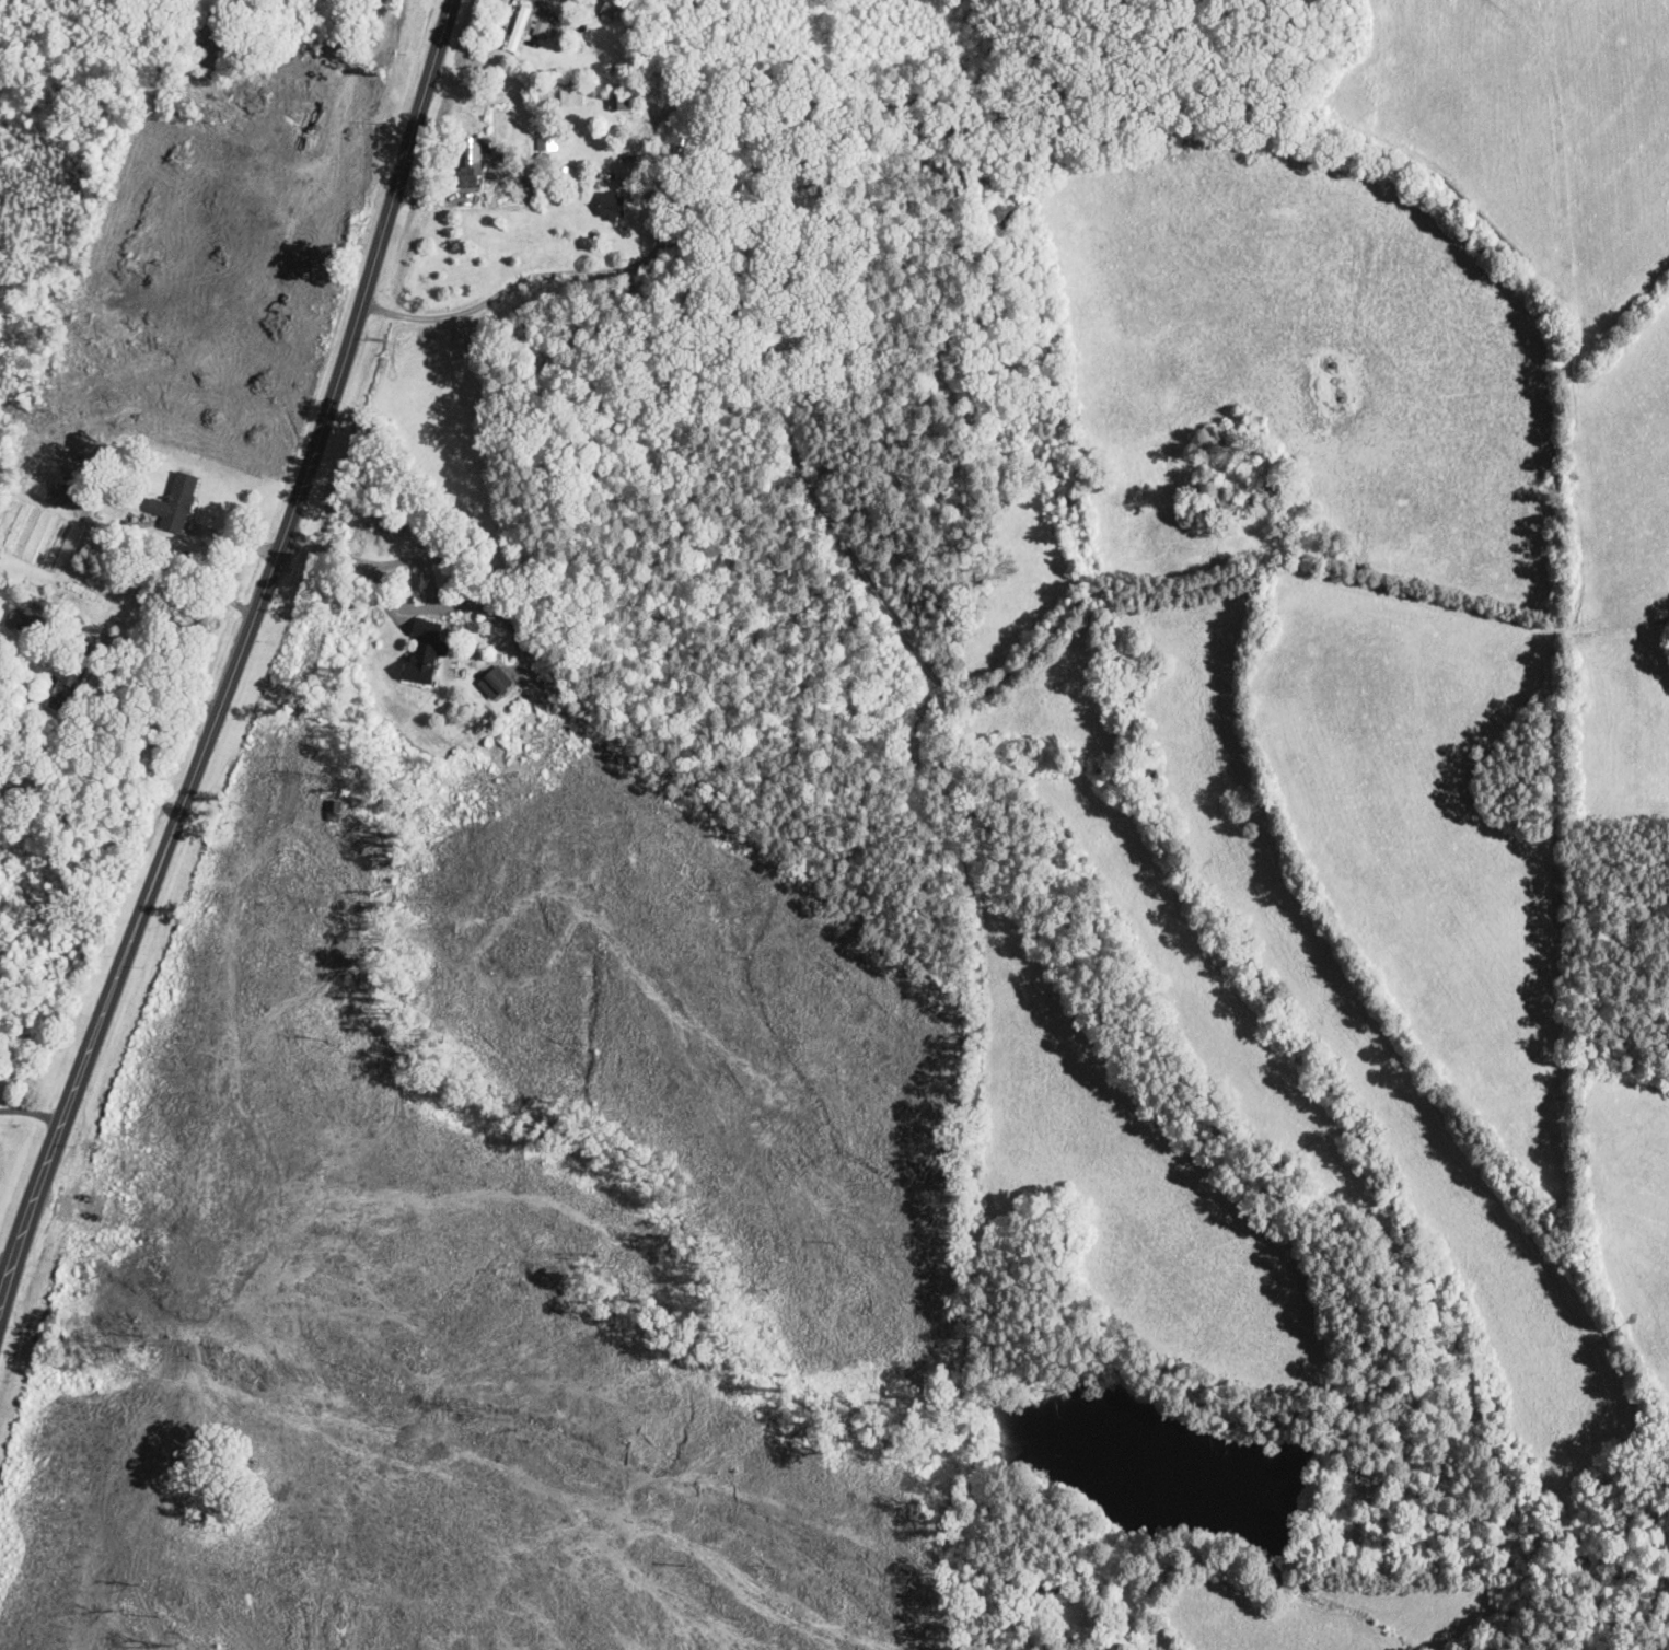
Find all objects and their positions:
building: (609, 9)
building: (519, 30)
building: (540, 30)
building: (616, 103)
building: (687, 140)
building: (472, 159)
building: (613, 207)
building: (751, 254)
building: (58, 497)
building: (178, 504)
building: (24, 624)
road: (230, 651)
building: (425, 653)
building: (496, 684)
building: (67, 688)

